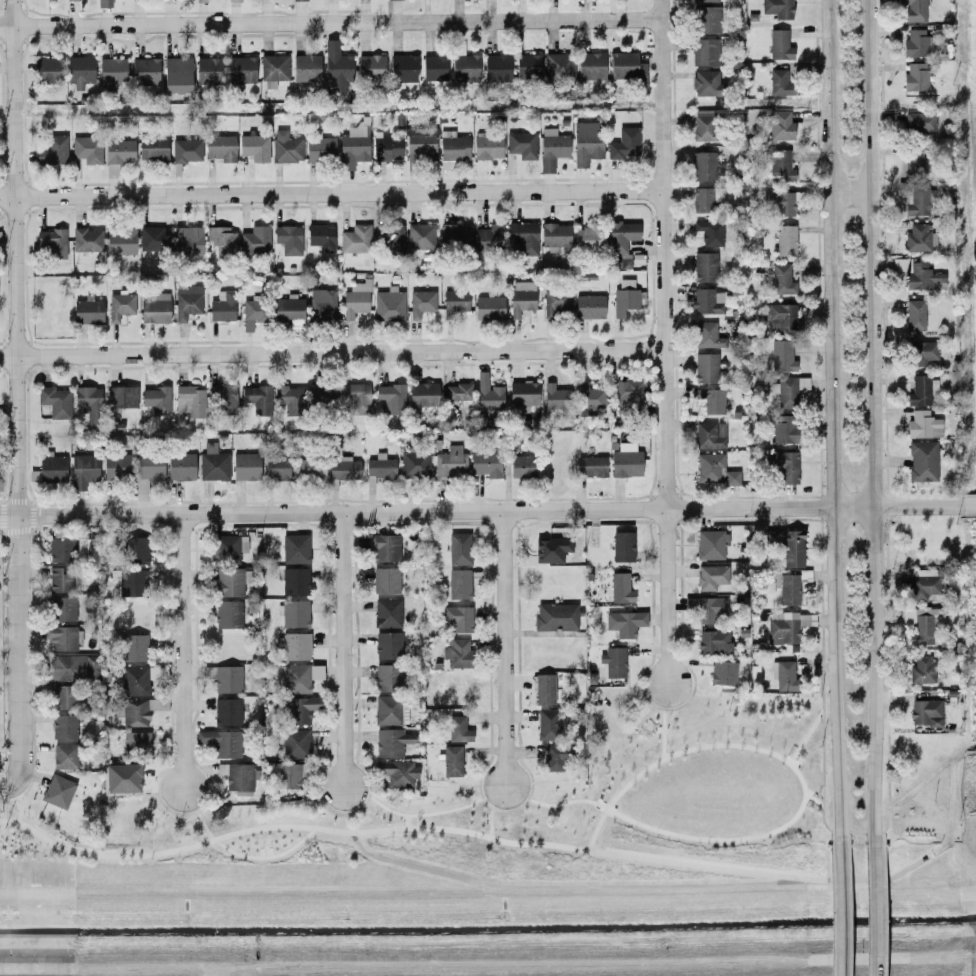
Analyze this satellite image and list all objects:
building: (73, 0)
building: (200, 0)
building: (299, 0)
building: (234, 1)
building: (705, 1)
building: (105, 3)
building: (777, 8)
building: (914, 10)
building: (707, 19)
road: (329, 22)
building: (915, 43)
building: (779, 44)
building: (705, 52)
building: (591, 65)
building: (306, 66)
building: (337, 66)
building: (371, 66)
building: (528, 66)
building: (559, 66)
building: (627, 66)
building: (434, 67)
building: (465, 67)
building: (403, 68)
building: (497, 68)
building: (48, 69)
building: (242, 69)
building: (273, 69)
building: (145, 70)
building: (80, 71)
building: (209, 71)
building: (112, 72)
building: (177, 75)
building: (915, 76)
building: (705, 82)
building: (779, 83)
building: (919, 123)
building: (704, 125)
building: (780, 125)
building: (587, 142)
building: (624, 143)
building: (354, 145)
building: (522, 145)
building: (386, 146)
building: (420, 146)
building: (453, 146)
building: (487, 146)
building: (153, 147)
building: (220, 147)
building: (254, 147)
building: (286, 147)
building: (552, 148)
building: (87, 149)
building: (320, 149)
building: (53, 150)
building: (186, 150)
building: (118, 154)
building: (912, 161)
building: (780, 165)
building: (704, 166)
road: (847, 192)
road: (330, 194)
building: (705, 198)
building: (918, 199)
building: (782, 202)
building: (0, 231)
building: (710, 232)
building: (455, 234)
building: (420, 235)
building: (554, 235)
building: (391, 236)
building: (321, 237)
building: (489, 237)
building: (587, 237)
building: (153, 238)
building: (919, 238)
building: (50, 239)
building: (87, 239)
building: (289, 239)
building: (355, 239)
building: (120, 240)
building: (188, 240)
building: (222, 240)
building: (255, 240)
building: (785, 240)
building: (623, 242)
building: (705, 266)
building: (924, 277)
building: (781, 279)
building: (521, 297)
building: (625, 297)
building: (356, 298)
building: (707, 300)
building: (186, 301)
building: (421, 302)
building: (454, 302)
building: (322, 303)
building: (555, 303)
building: (388, 304)
building: (119, 305)
building: (222, 306)
building: (589, 306)
building: (154, 307)
building: (489, 307)
building: (288, 308)
building: (87, 311)
building: (253, 313)
building: (915, 315)
building: (781, 317)
building: (707, 335)
road: (661, 343)
road: (330, 351)
building: (923, 352)
building: (782, 355)
building: (706, 367)
building: (788, 389)
building: (922, 389)
building: (458, 391)
road: (12, 393)
building: (423, 393)
building: (523, 393)
building: (488, 394)
building: (123, 396)
building: (322, 396)
building: (356, 397)
building: (555, 397)
building: (223, 398)
building: (257, 398)
building: (628, 398)
building: (157, 399)
building: (290, 399)
building: (390, 399)
building: (590, 399)
building: (55, 400)
building: (190, 400)
building: (711, 400)
road: (829, 418)
road: (869, 423)
building: (923, 424)
building: (783, 428)
building: (711, 434)
building: (626, 461)
building: (922, 461)
building: (450, 462)
building: (414, 464)
building: (485, 464)
building: (786, 465)
building: (117, 466)
building: (149, 466)
building: (181, 466)
building: (246, 466)
building: (380, 466)
building: (522, 466)
building: (590, 466)
building: (294, 468)
building: (52, 469)
building: (343, 469)
building: (83, 470)
building: (714, 470)
road: (967, 507)
road: (479, 511)
building: (711, 544)
building: (622, 546)
building: (385, 547)
building: (227, 548)
building: (295, 548)
building: (459, 548)
building: (793, 548)
building: (61, 549)
building: (551, 549)
building: (136, 550)
building: (711, 576)
building: (58, 580)
building: (386, 580)
building: (231, 581)
building: (295, 581)
building: (133, 582)
building: (459, 583)
building: (620, 587)
building: (789, 589)
building: (63, 608)
building: (707, 609)
building: (387, 612)
building: (293, 613)
building: (228, 614)
building: (556, 617)
building: (459, 618)
building: (624, 622)
building: (921, 625)
building: (787, 628)
building: (62, 637)
building: (714, 642)
building: (294, 645)
building: (388, 645)
building: (135, 647)
road: (339, 651)
road: (184, 652)
building: (457, 652)
road: (504, 652)
building: (614, 661)
building: (73, 667)
building: (921, 669)
building: (723, 673)
building: (784, 675)
building: (300, 677)
building: (388, 677)
building: (140, 678)
building: (224, 678)
building: (544, 689)
building: (64, 697)
building: (302, 709)
building: (390, 710)
building: (227, 711)
building: (133, 712)
building: (925, 712)
building: (549, 724)
building: (64, 726)
building: (458, 729)
road: (662, 733)
road: (806, 736)
building: (221, 741)
building: (392, 741)
building: (136, 743)
building: (295, 743)
road: (912, 751)
road: (970, 753)
building: (65, 756)
building: (556, 757)
building: (452, 760)
building: (397, 772)
building: (237, 776)
building: (122, 777)
road: (6, 787)
building: (58, 791)
road: (801, 801)
road: (19, 810)
road: (423, 814)
road: (406, 821)
road: (489, 822)
road: (948, 829)
road: (483, 836)
road: (249, 856)
road: (567, 886)
road: (840, 906)
road: (873, 911)
river: (487, 923)

